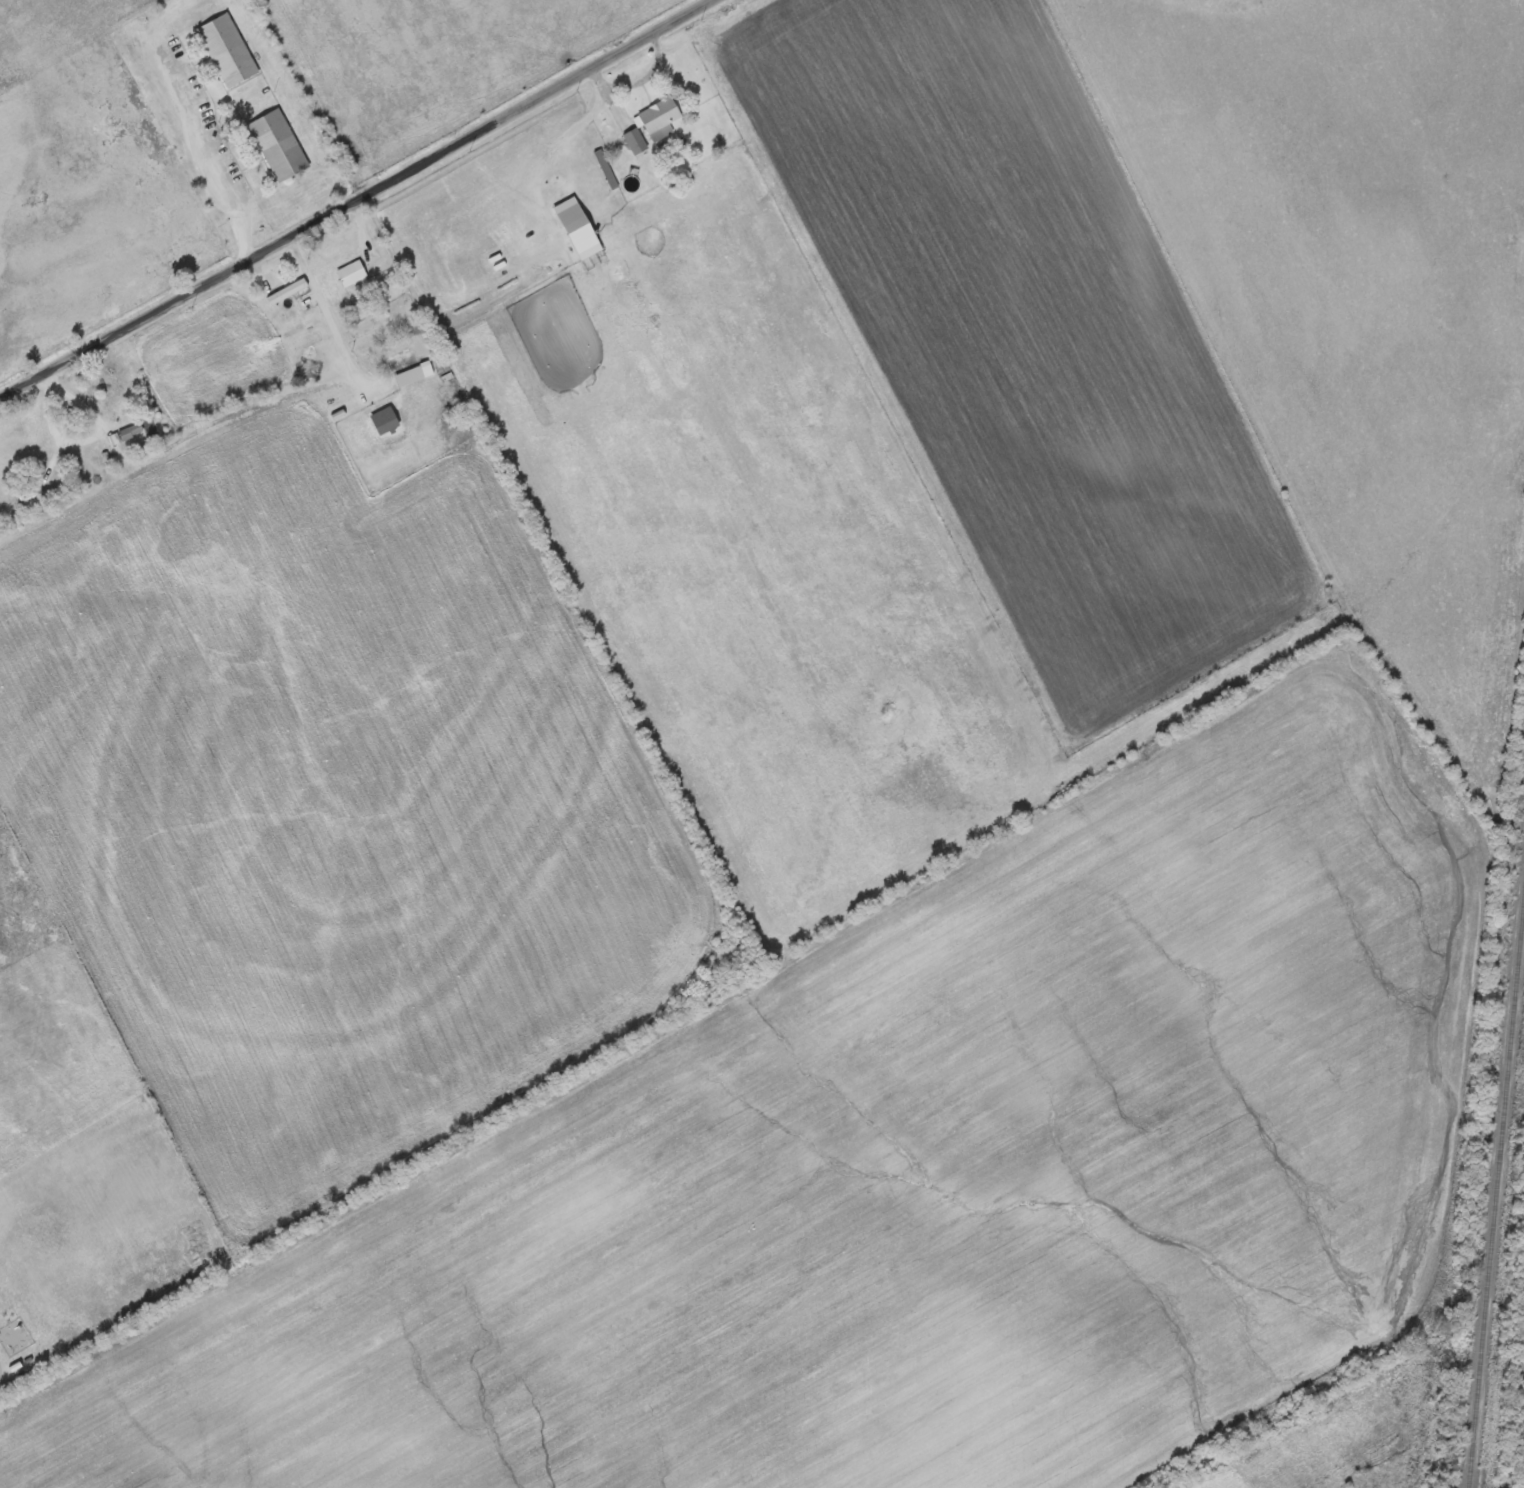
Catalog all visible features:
building: (224, 50)
building: (657, 120)
building: (633, 141)
building: (276, 145)
building: (605, 170)
road: (360, 202)
building: (582, 241)
building: (348, 273)
building: (292, 302)
building: (406, 367)
building: (129, 435)
building: (35, 493)
railway: (1497, 1203)

